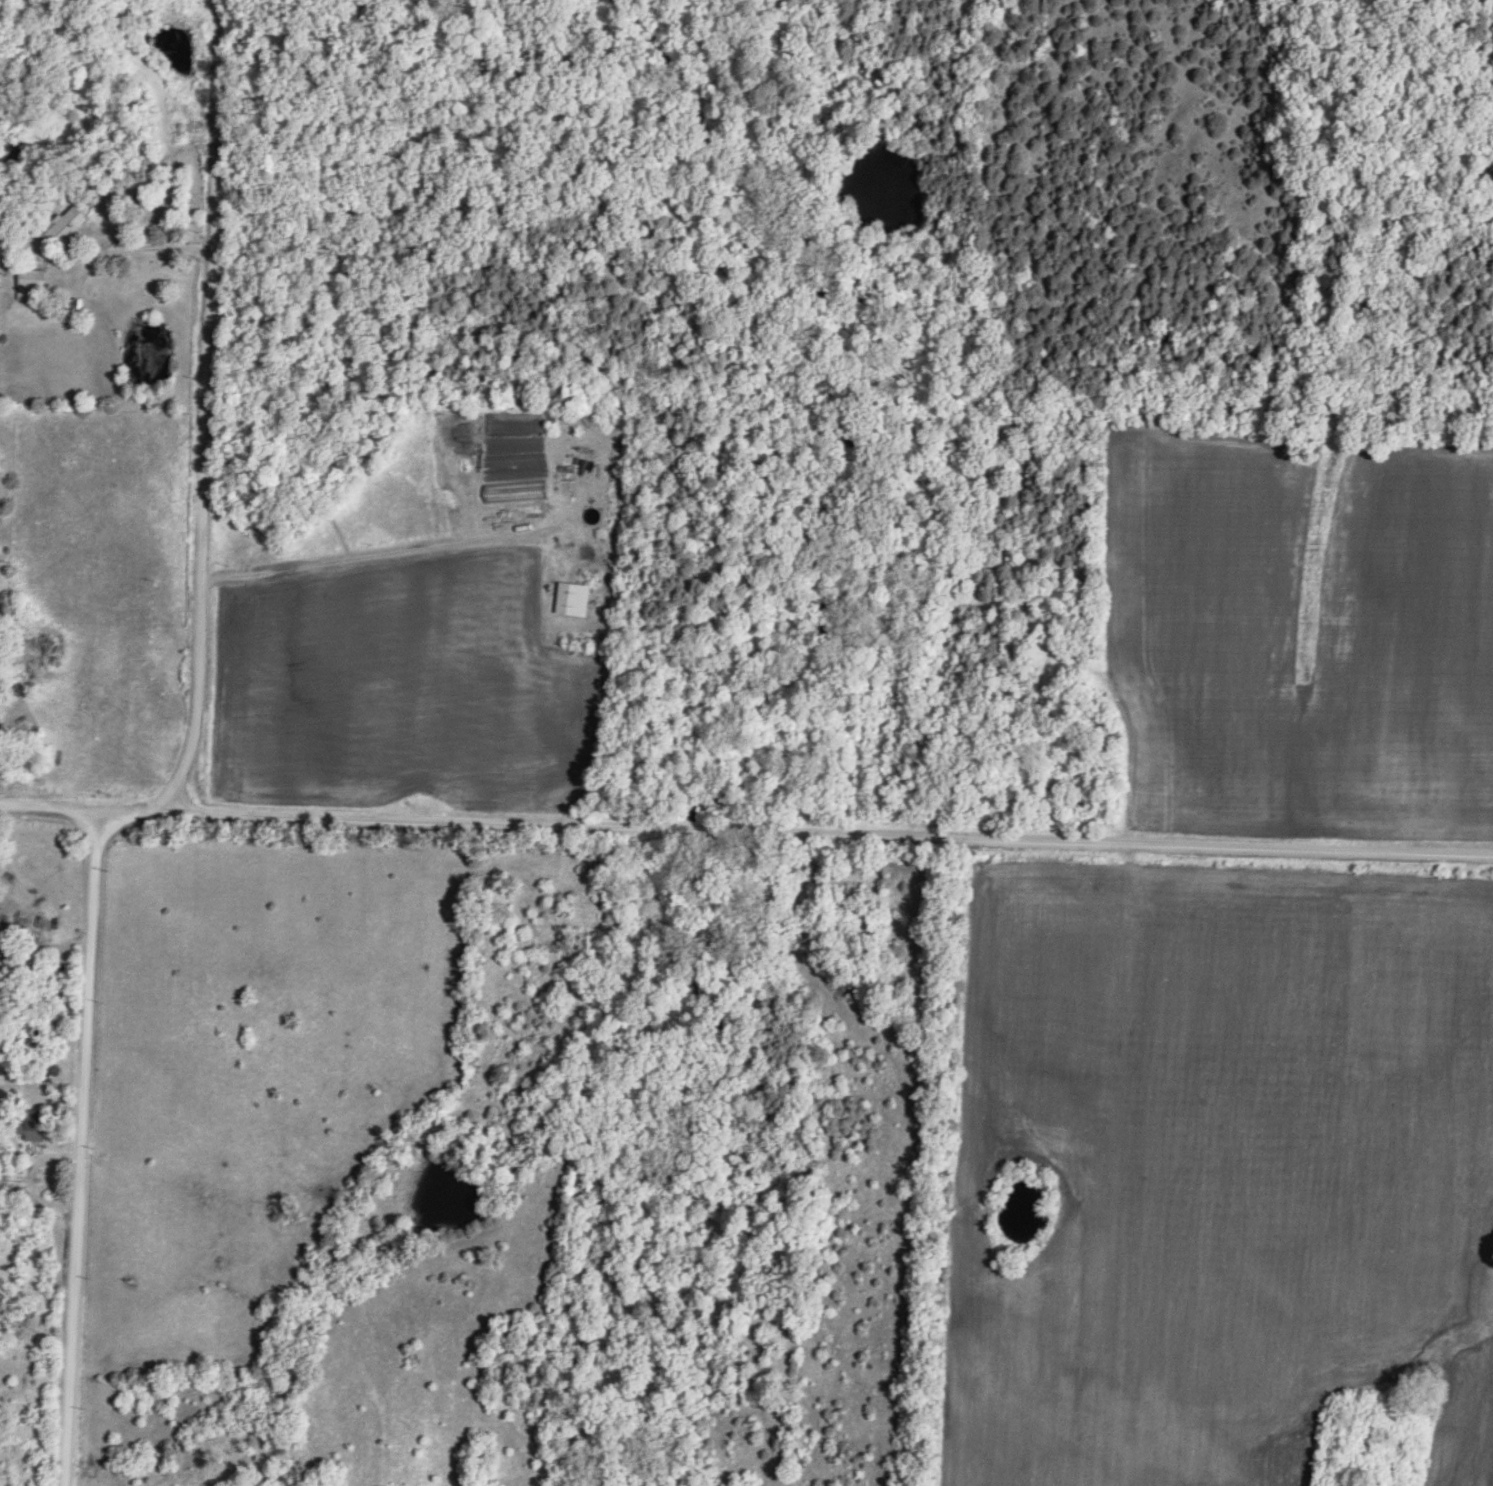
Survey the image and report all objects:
building: (67, 224)
road: (123, 244)
building: (33, 281)
road: (206, 411)
building: (517, 489)
building: (574, 596)
road: (746, 834)
road: (46, 904)
building: (33, 1122)
road: (82, 1148)
road: (29, 1183)

